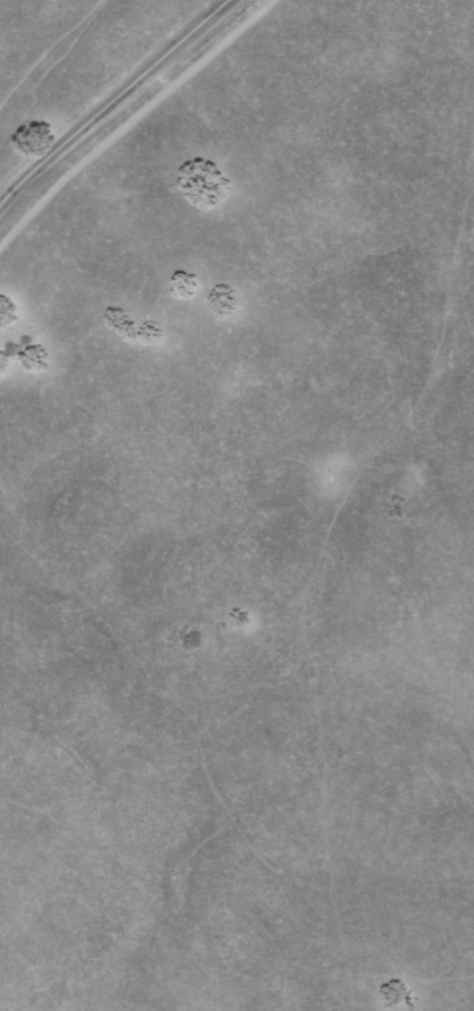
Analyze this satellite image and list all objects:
road: (111, 104)

